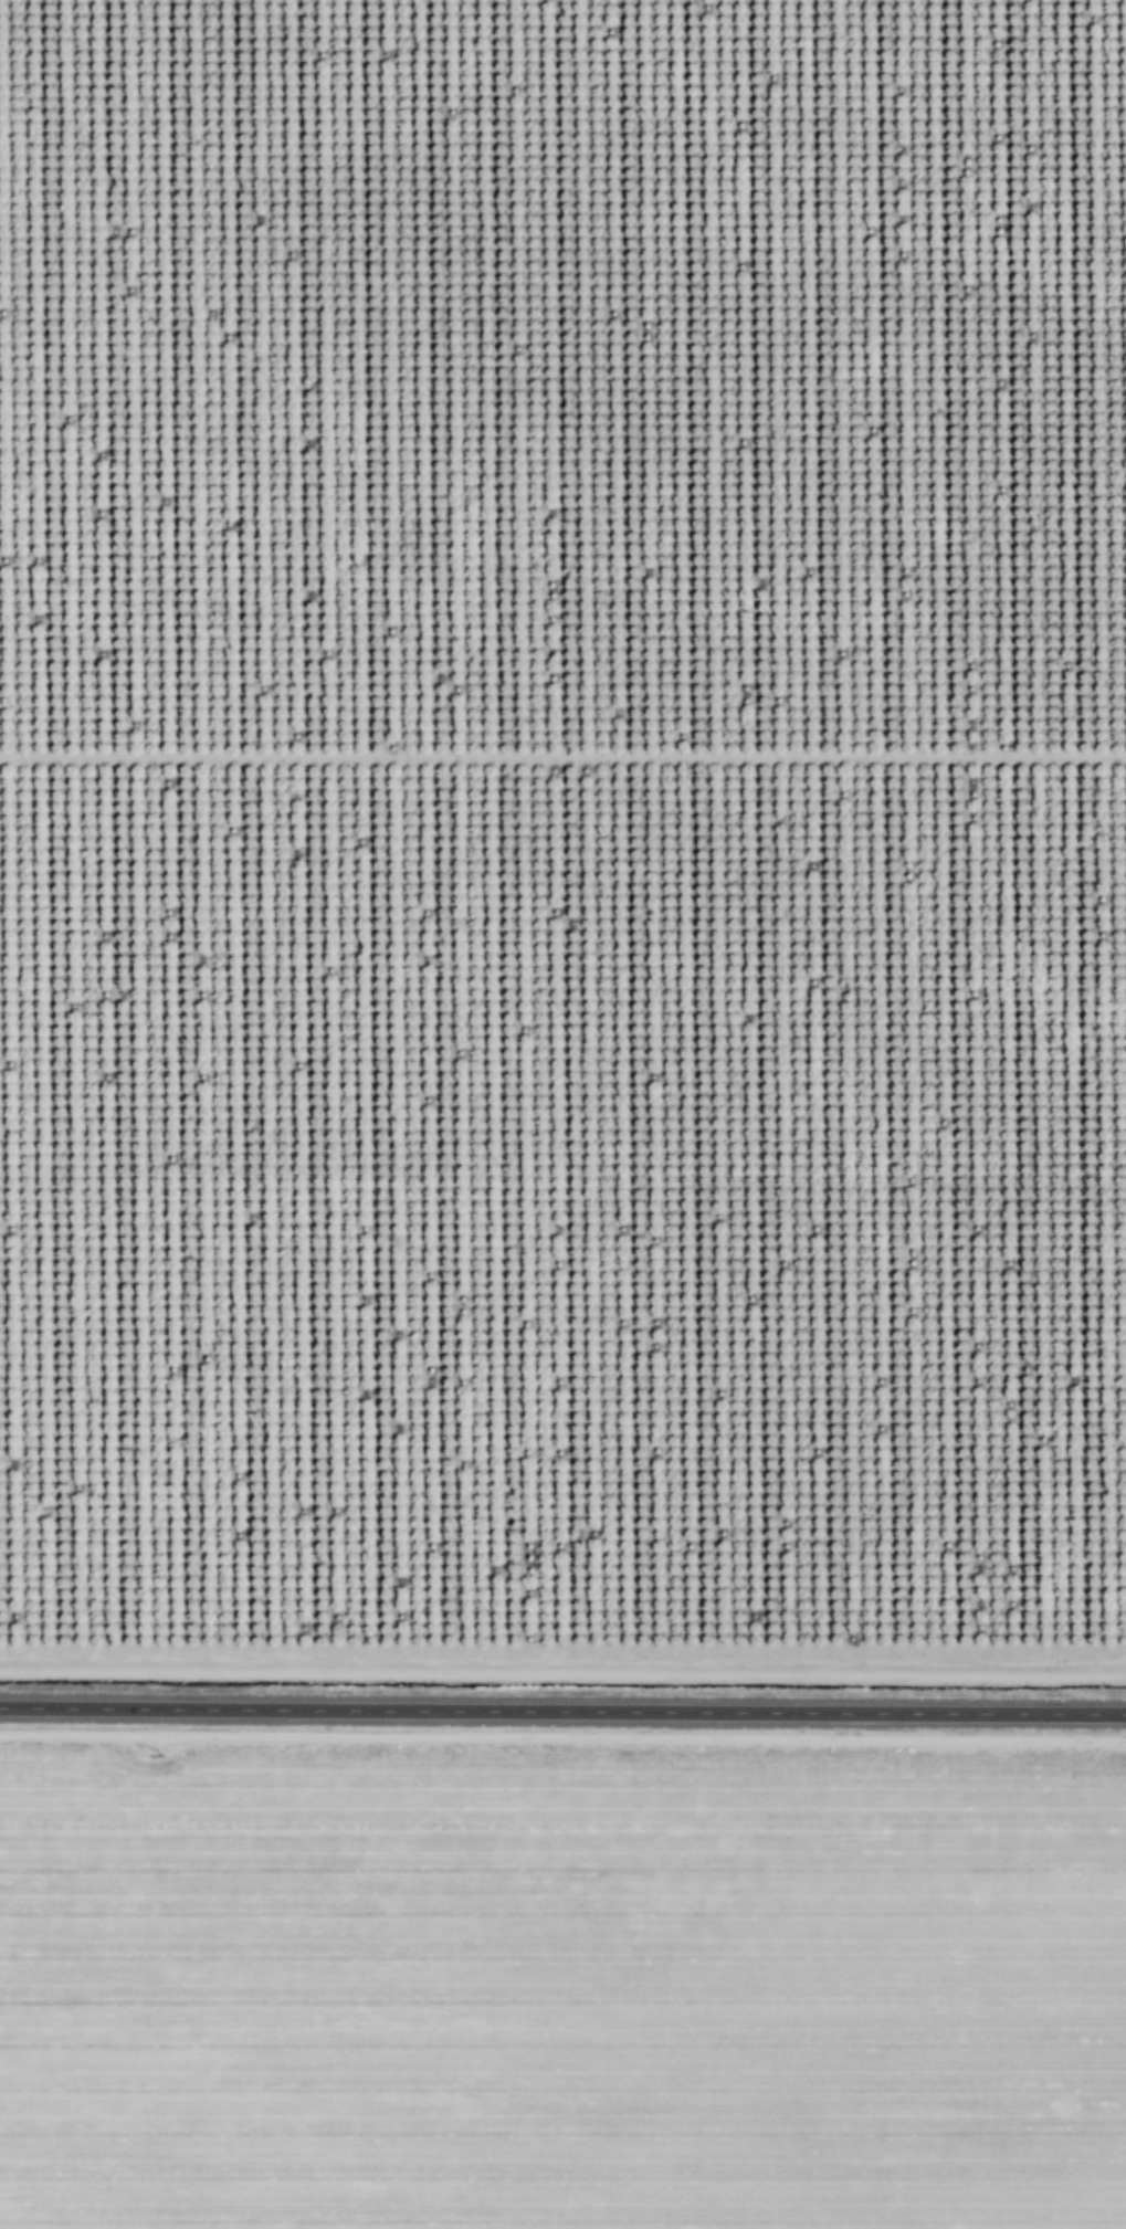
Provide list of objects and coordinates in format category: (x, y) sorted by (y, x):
road: (562, 1714)

